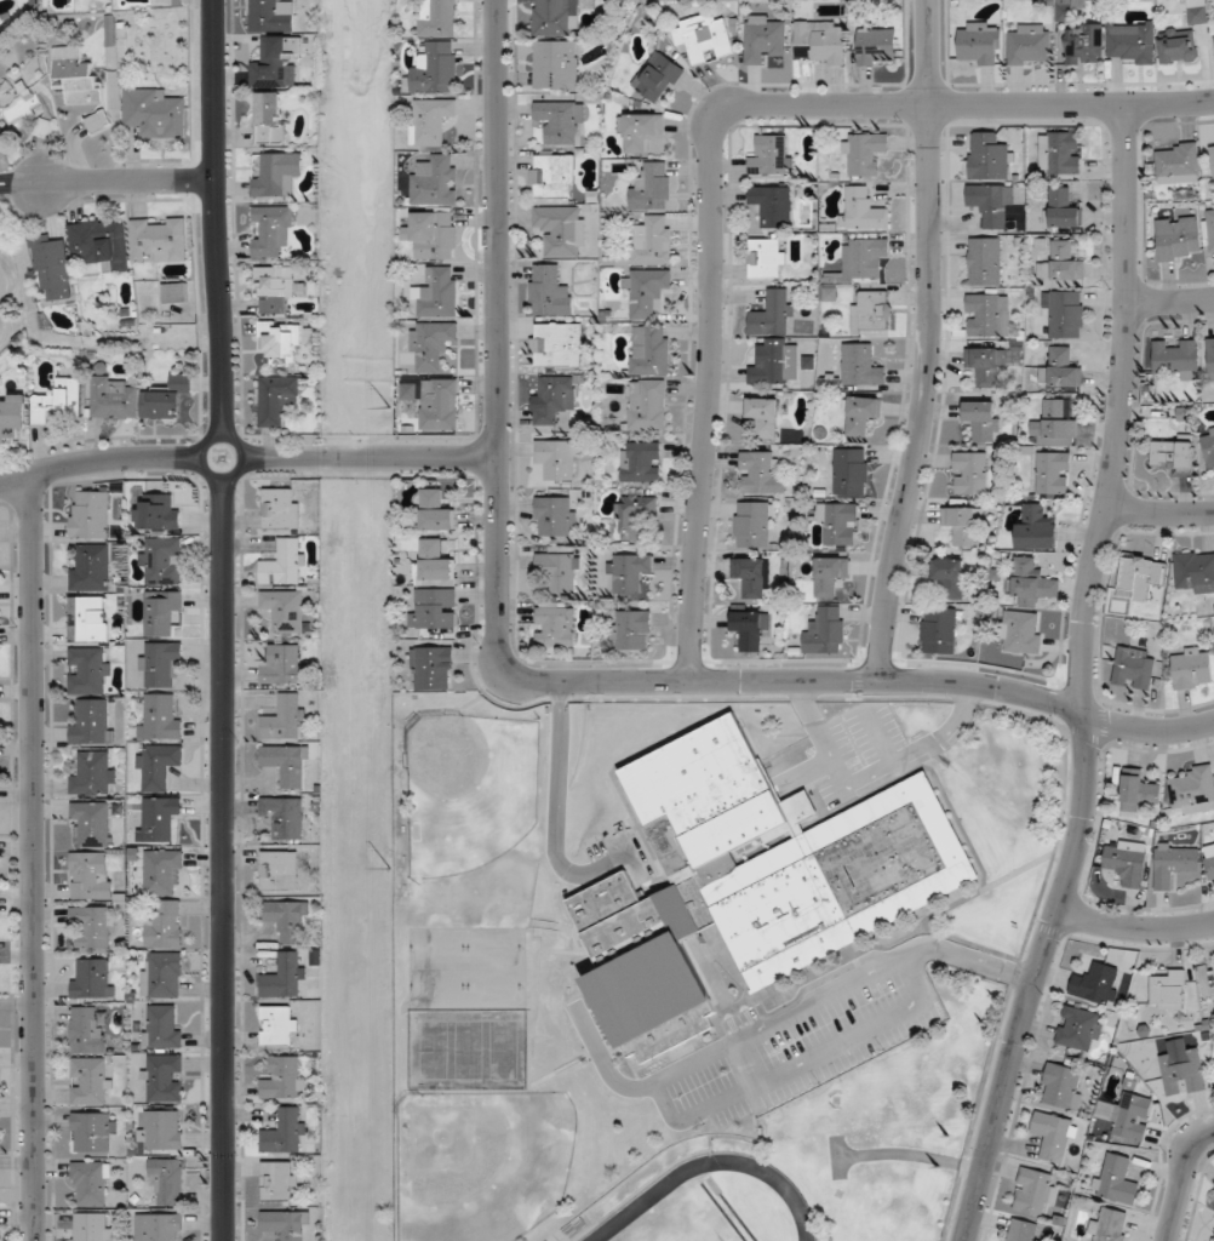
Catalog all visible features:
building: (1197, 12)
building: (271, 16)
building: (439, 17)
building: (556, 17)
building: (1213, 28)
building: (763, 35)
building: (704, 36)
building: (821, 41)
building: (980, 42)
building: (1134, 42)
building: (1029, 44)
building: (1083, 44)
building: (1179, 45)
building: (877, 46)
building: (276, 63)
building: (556, 64)
building: (434, 69)
building: (75, 75)
building: (659, 78)
building: (154, 113)
building: (269, 118)
building: (97, 120)
building: (431, 120)
building: (561, 120)
building: (641, 131)
road: (711, 150)
building: (1060, 151)
building: (864, 153)
building: (771, 155)
building: (990, 156)
building: (1179, 160)
building: (276, 175)
building: (552, 176)
building: (435, 181)
road: (108, 182)
building: (652, 187)
building: (990, 202)
building: (773, 205)
building: (1063, 207)
building: (863, 210)
road: (218, 218)
building: (561, 227)
building: (1212, 227)
building: (271, 231)
building: (434, 235)
building: (159, 239)
building: (99, 240)
building: (1179, 240)
building: (653, 241)
building: (767, 257)
building: (864, 257)
building: (985, 261)
building: (1063, 267)
building: (55, 268)
building: (275, 287)
building: (549, 291)
building: (647, 291)
park: (10, 292)
building: (174, 292)
building: (439, 292)
road: (1170, 301)
building: (871, 309)
building: (1065, 311)
building: (773, 313)
building: (987, 314)
building: (282, 339)
road: (928, 342)
building: (431, 345)
building: (557, 345)
building: (651, 349)
building: (1176, 359)
building: (1212, 359)
building: (775, 365)
building: (860, 365)
building: (986, 366)
building: (1061, 368)
building: (113, 398)
building: (276, 398)
building: (168, 399)
building: (552, 399)
building: (58, 400)
building: (440, 402)
building: (647, 404)
building: (863, 413)
building: (12, 414)
building: (765, 416)
building: (983, 419)
building: (1054, 423)
road: (233, 441)
building: (1208, 445)
building: (1173, 453)
road: (368, 457)
building: (557, 459)
road: (98, 461)
building: (641, 461)
building: (760, 471)
building: (852, 471)
building: (970, 471)
building: (1053, 473)
building: (281, 508)
building: (436, 510)
building: (159, 511)
road: (1159, 513)
building: (90, 514)
building: (636, 514)
building: (555, 516)
building: (754, 524)
building: (838, 524)
building: (961, 524)
building: (1036, 527)
building: (162, 560)
building: (437, 561)
building: (284, 564)
building: (90, 567)
building: (561, 570)
building: (630, 571)
building: (1195, 571)
building: (831, 574)
building: (1141, 574)
building: (751, 576)
building: (950, 577)
building: (1030, 583)
building: (285, 608)
building: (436, 608)
building: (161, 612)
building: (87, 617)
building: (555, 624)
building: (751, 628)
building: (632, 629)
building: (940, 630)
building: (825, 631)
building: (1021, 631)
building: (160, 663)
building: (282, 664)
building: (434, 668)
building: (1134, 668)
building: (1192, 668)
building: (88, 670)
road: (528, 679)
road: (1081, 680)
road: (560, 691)
building: (161, 717)
building: (285, 717)
building: (93, 722)
road: (876, 738)
building: (286, 764)
building: (158, 766)
building: (93, 772)
road: (867, 774)
park: (468, 789)
building: (1139, 790)
building: (1193, 790)
building: (285, 816)
building: (159, 817)
road: (555, 818)
building: (95, 822)
building: (1213, 842)
road: (34, 858)
road: (221, 859)
building: (1127, 863)
building: (1175, 863)
building: (1210, 867)
building: (279, 869)
building: (161, 870)
building: (91, 875)
building: (751, 880)
building: (287, 920)
building: (95, 925)
building: (164, 925)
road: (1134, 928)
road: (967, 960)
park: (469, 967)
building: (162, 974)
building: (284, 976)
building: (92, 978)
building: (1208, 979)
building: (1096, 982)
building: (1169, 989)
building: (279, 1024)
building: (162, 1026)
building: (1080, 1028)
building: (88, 1029)
park: (469, 1047)
road: (606, 1063)
road: (749, 1063)
building: (1184, 1071)
building: (165, 1077)
building: (284, 1077)
building: (88, 1080)
building: (1063, 1086)
building: (1130, 1115)
road: (678, 1117)
building: (161, 1130)
building: (92, 1132)
building: (286, 1132)
building: (1053, 1134)
road: (909, 1154)
road: (836, 1156)
park: (482, 1162)
building: (1116, 1178)
building: (168, 1179)
building: (280, 1179)
building: (91, 1182)
road: (1181, 1182)
building: (1035, 1191)
building: (286, 1224)
park: (678, 1225)
building: (1110, 1225)
building: (92, 1226)
building: (159, 1226)
building: (1021, 1230)
building: (1213, 1237)

